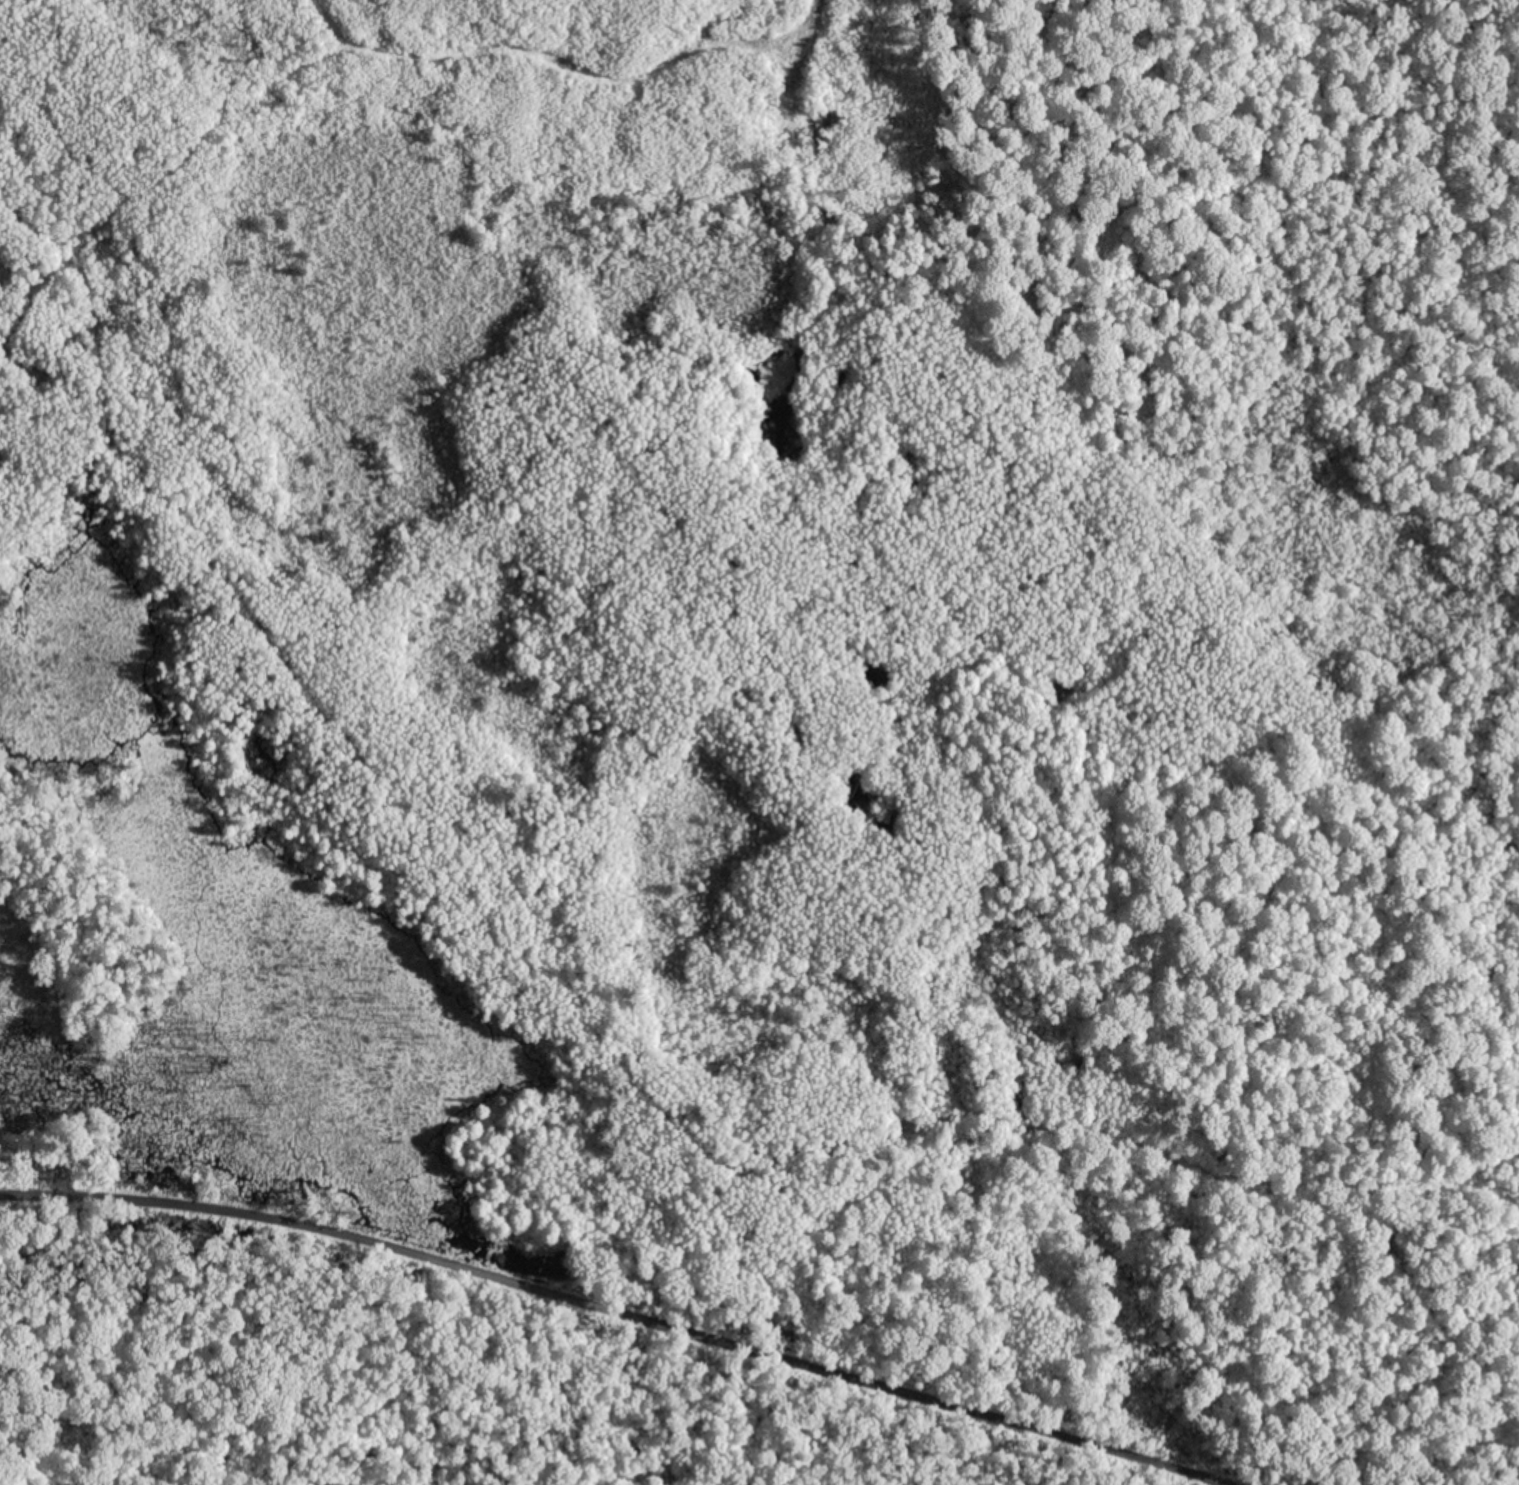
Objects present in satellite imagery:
road: (632, 1313)

